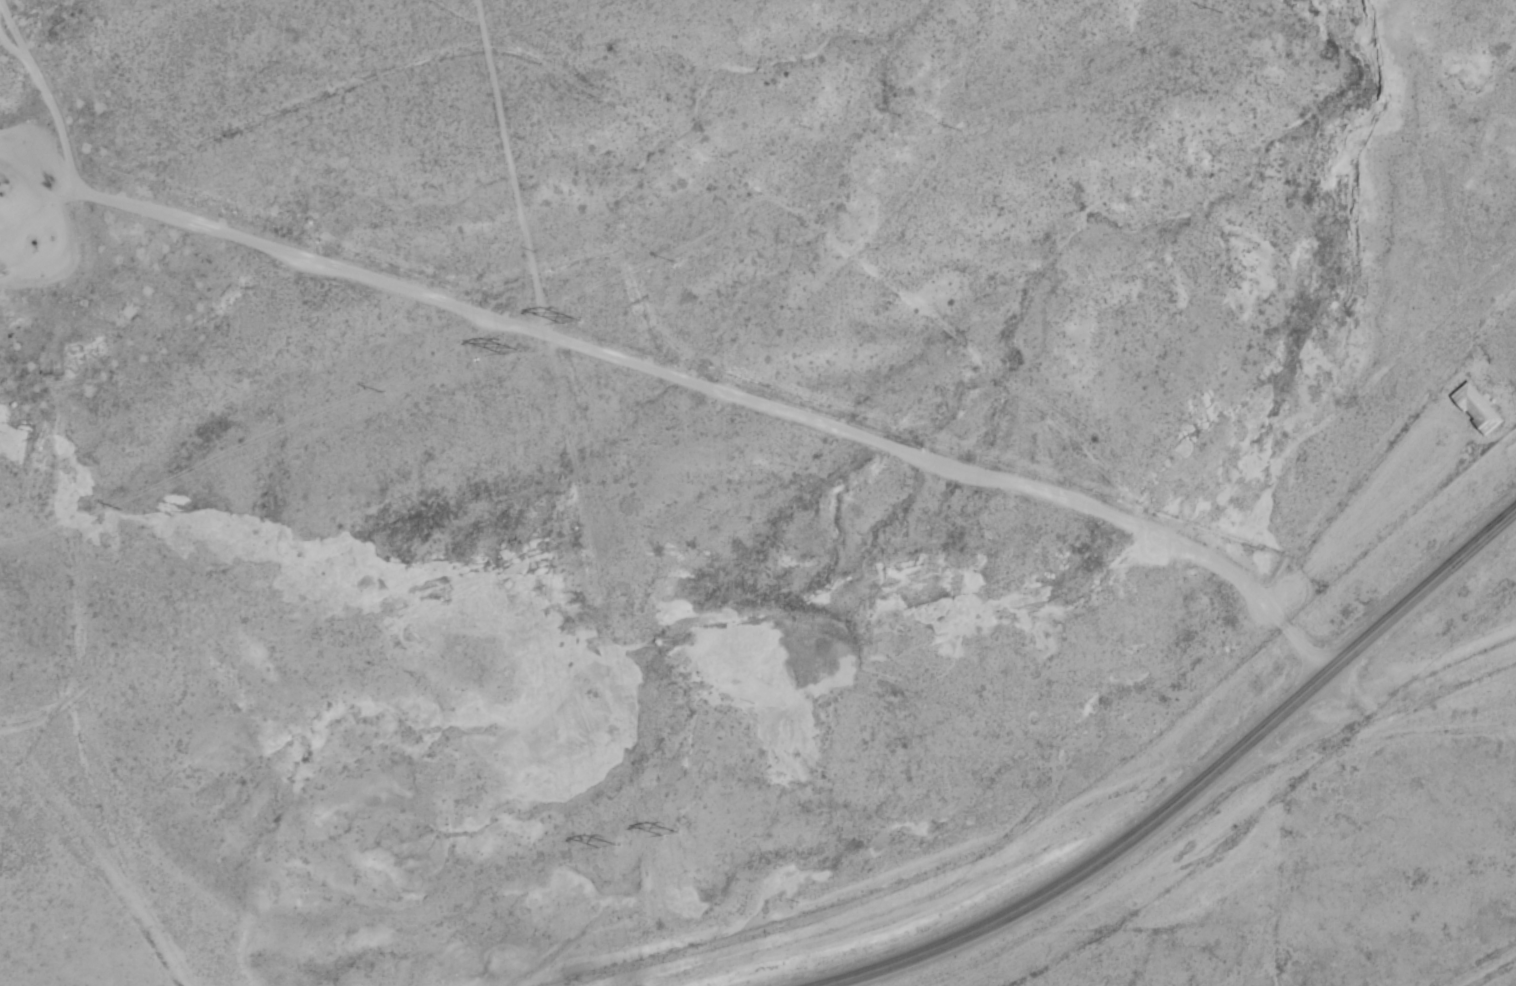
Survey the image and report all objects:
road: (414, 12)
road: (525, 295)
power tower: (571, 322)
power tower: (512, 352)
road: (913, 354)
road: (86, 637)
road: (1197, 787)
road: (1084, 824)
power tower: (667, 836)
power tower: (602, 848)

